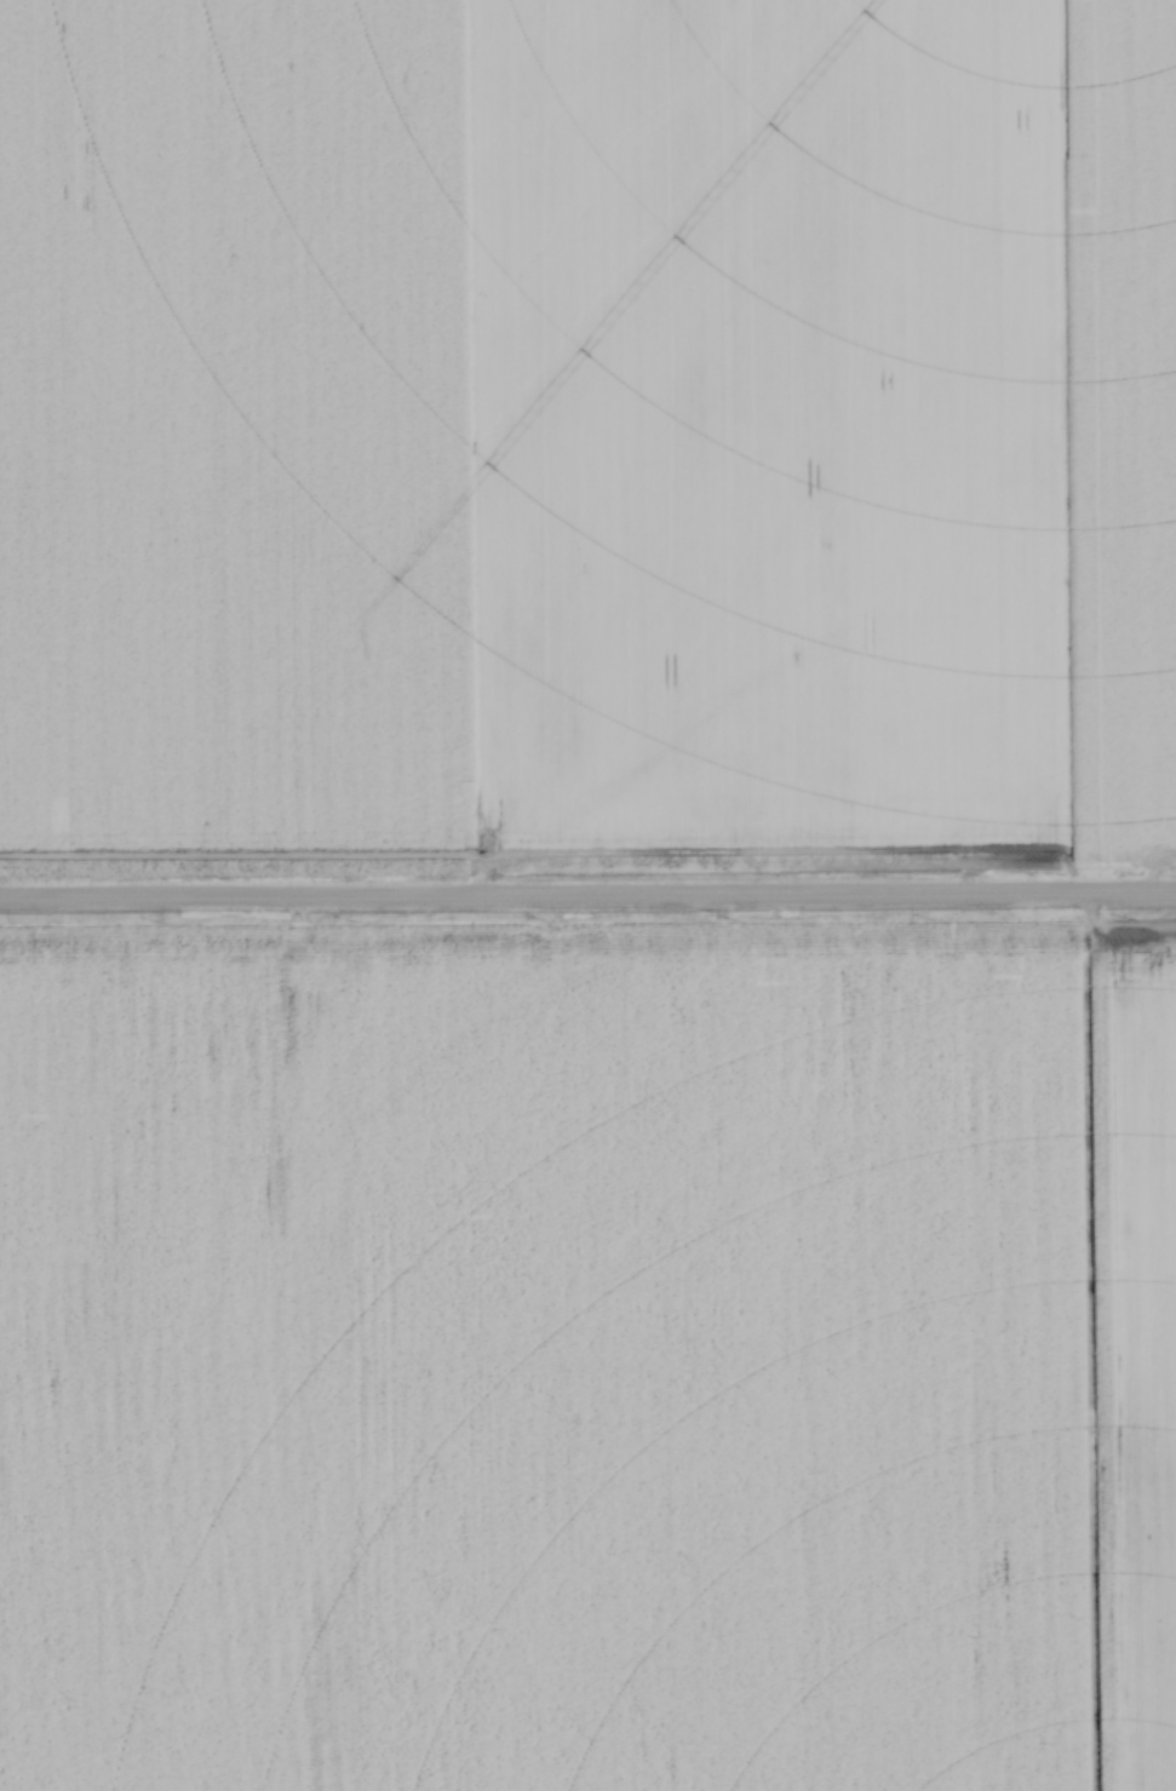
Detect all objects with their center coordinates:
road: (587, 903)

